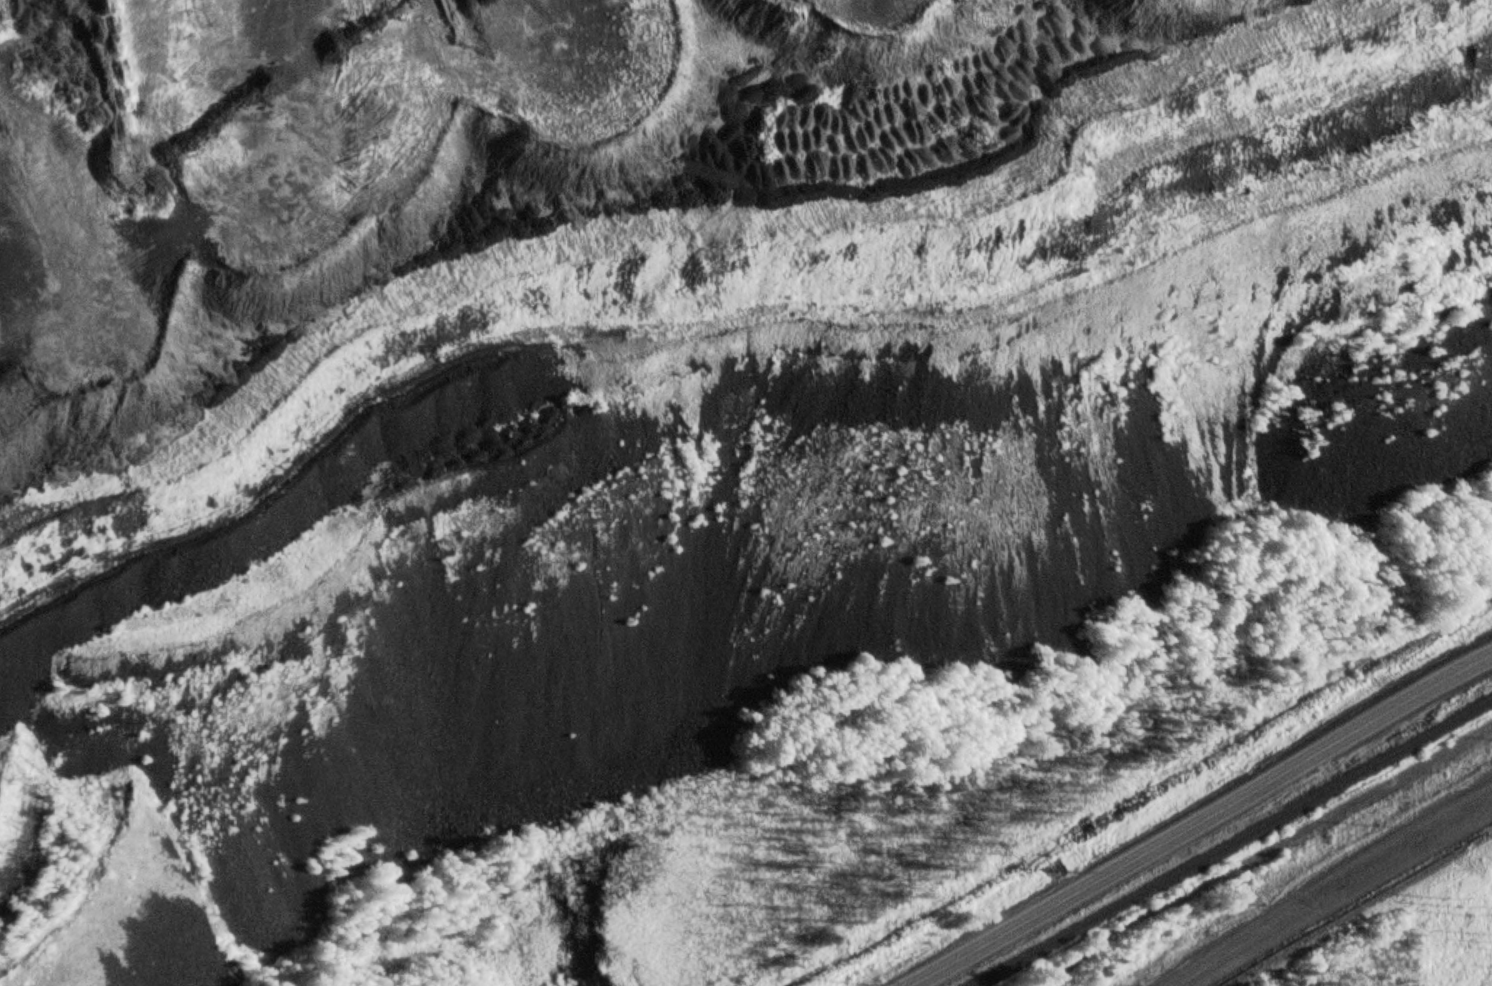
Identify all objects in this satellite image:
quarry: (648, 392)
road: (1482, 632)
road: (1411, 694)
railway: (1224, 840)
road: (1113, 863)
road: (1308, 895)

